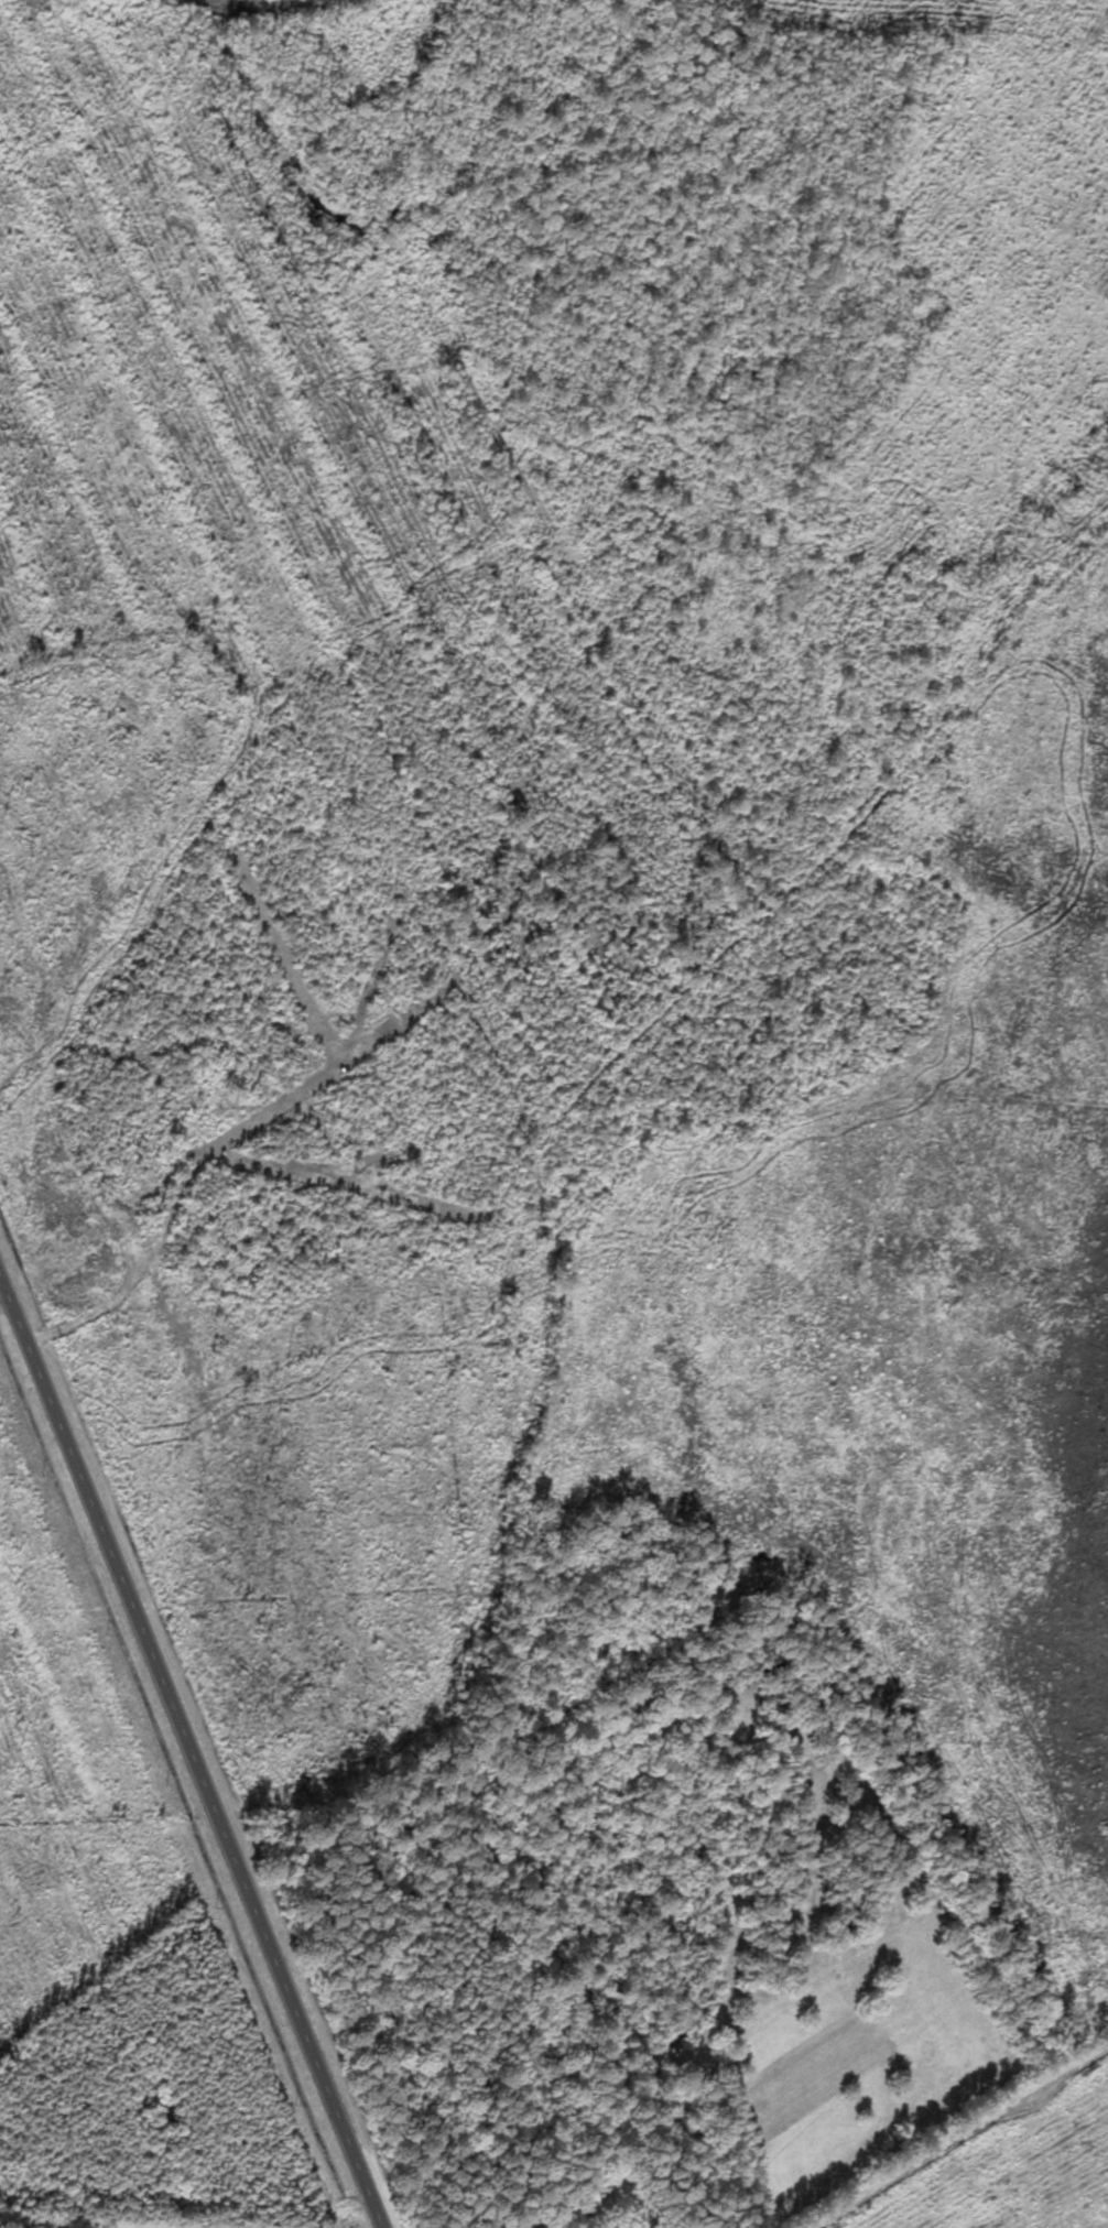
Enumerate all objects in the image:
road: (199, 1731)
road: (955, 2133)
building: (590, 2205)

